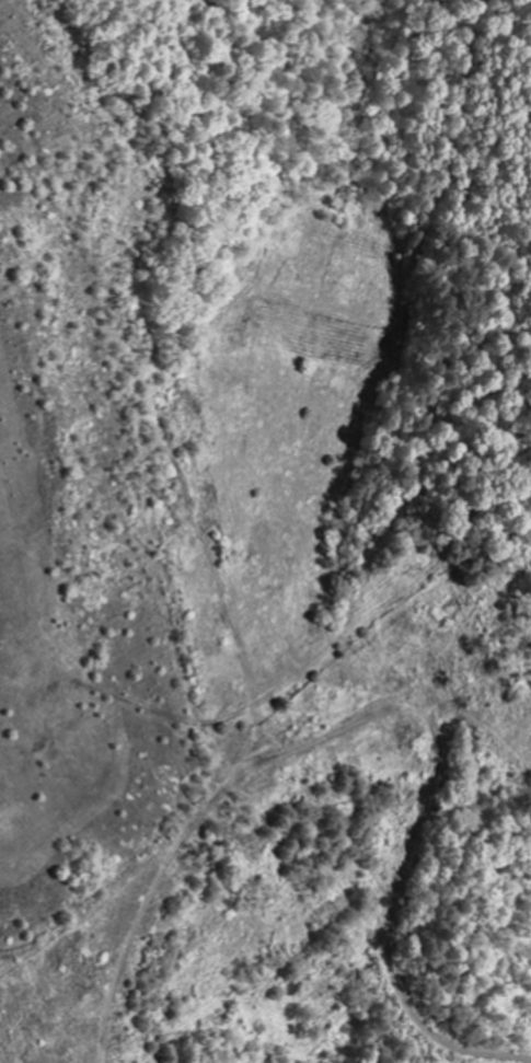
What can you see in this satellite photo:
landfill: (91, 505)

